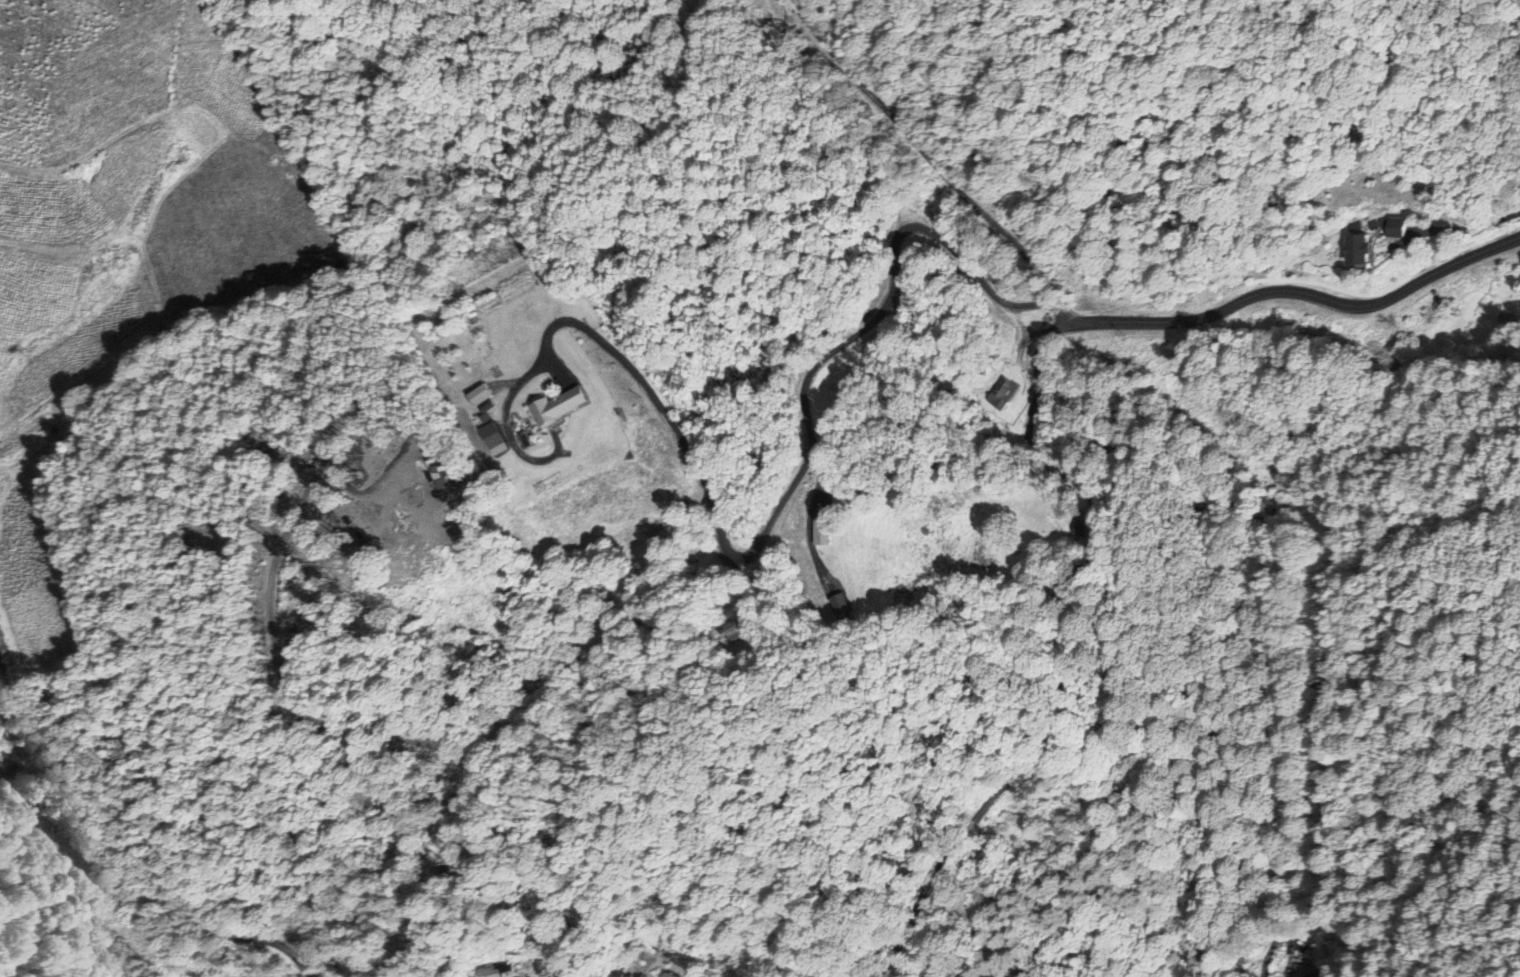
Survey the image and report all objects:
road: (935, 158)
building: (1385, 227)
building: (1353, 251)
road: (868, 321)
road: (636, 372)
building: (998, 394)
building: (475, 396)
building: (553, 405)
road: (1042, 457)
building: (819, 531)
building: (3, 763)
road: (123, 852)
building: (484, 968)
building: (1303, 970)

